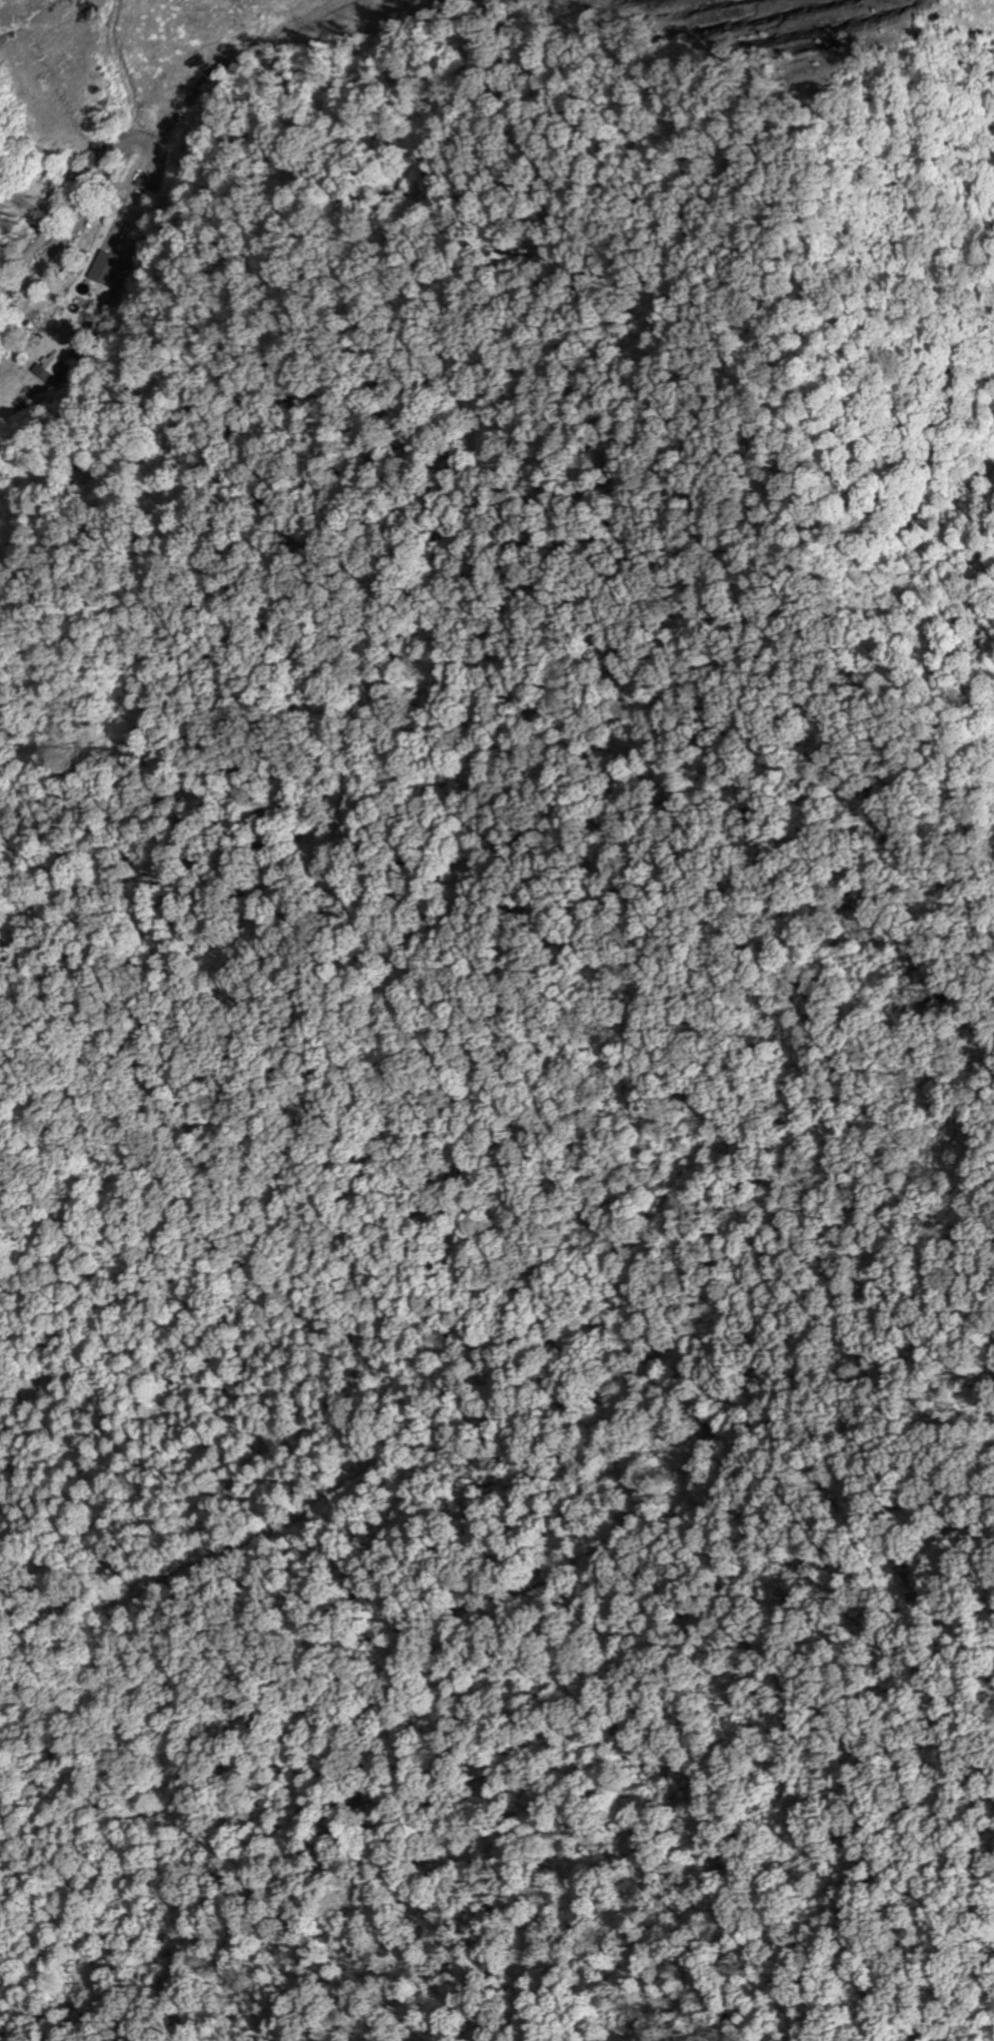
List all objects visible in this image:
building: (154, 181)
road: (8, 184)
building: (110, 269)
building: (59, 365)

